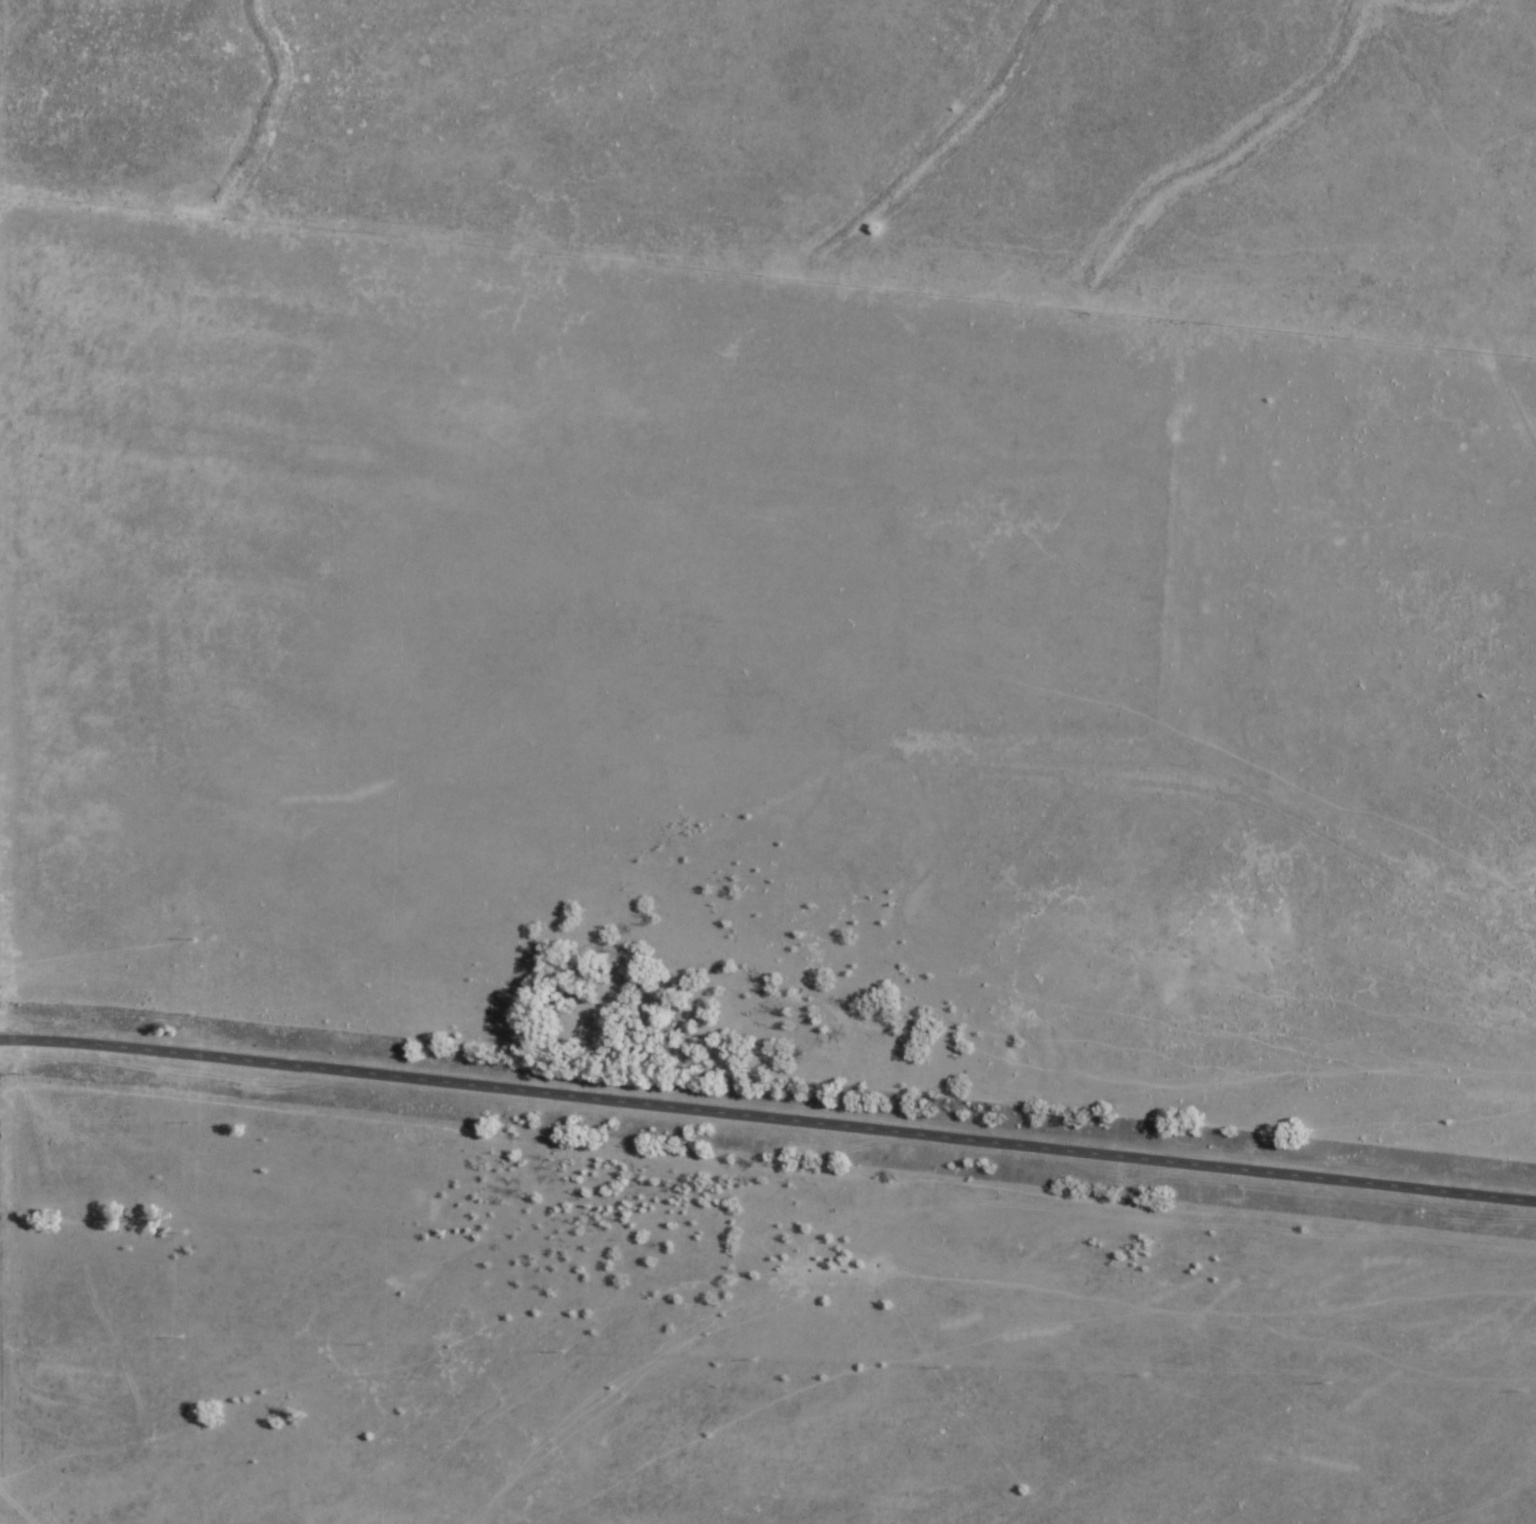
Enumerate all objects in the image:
road: (767, 1125)
road: (30, 1332)

